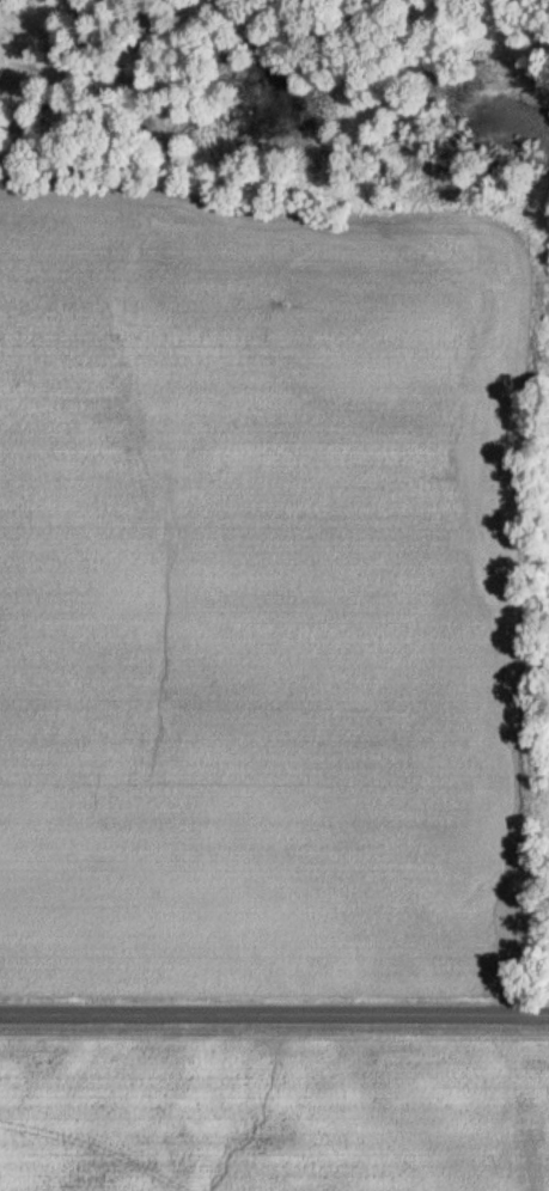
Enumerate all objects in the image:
road: (274, 1016)

